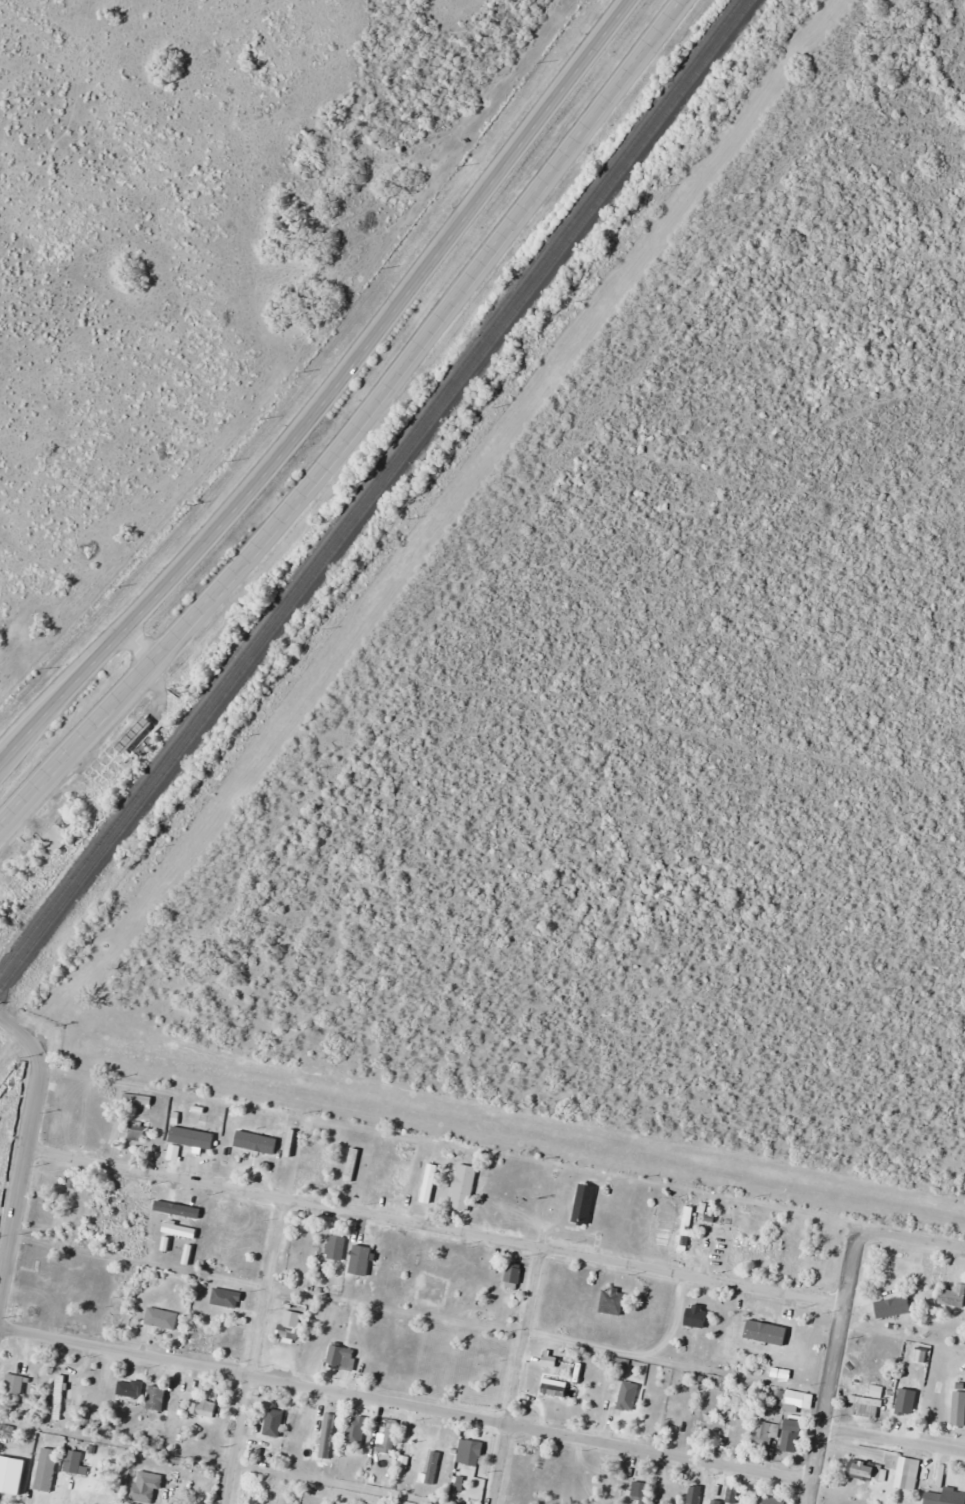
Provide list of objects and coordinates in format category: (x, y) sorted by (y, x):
road: (327, 392)
road: (365, 430)
railway: (369, 486)
railway: (376, 493)
road: (137, 647)
building: (133, 734)
building: (58, 837)
road: (24, 1032)
building: (138, 1099)
building: (138, 1130)
building: (184, 1137)
building: (251, 1143)
road: (20, 1167)
building: (465, 1187)
building: (584, 1204)
road: (433, 1227)
building: (686, 1228)
road: (911, 1237)
building: (751, 1243)
building: (336, 1247)
building: (365, 1264)
building: (920, 1267)
building: (827, 1268)
building: (52, 1270)
building: (514, 1276)
building: (953, 1296)
building: (226, 1298)
building: (613, 1301)
building: (893, 1307)
building: (697, 1316)
building: (161, 1318)
building: (756, 1330)
building: (289, 1332)
building: (786, 1345)
road: (255, 1351)
building: (883, 1356)
building: (342, 1357)
building: (480, 1364)
road: (831, 1365)
road: (514, 1375)
building: (14, 1385)
building: (130, 1389)
building: (59, 1397)
building: (621, 1398)
building: (798, 1400)
building: (905, 1400)
building: (868, 1401)
road: (405, 1403)
building: (959, 1408)
building: (204, 1409)
building: (273, 1409)
building: (706, 1429)
building: (360, 1430)
building: (6, 1431)
building: (769, 1431)
building: (791, 1435)
road: (893, 1439)
building: (388, 1440)
building: (261, 1443)
building: (473, 1453)
building: (74, 1462)
building: (909, 1467)
building: (866, 1471)
building: (7, 1474)
building: (21, 1477)
building: (174, 1477)
building: (256, 1482)
building: (147, 1487)
building: (639, 1491)
building: (735, 1495)
building: (946, 1497)
building: (258, 1500)
building: (769, 1500)

